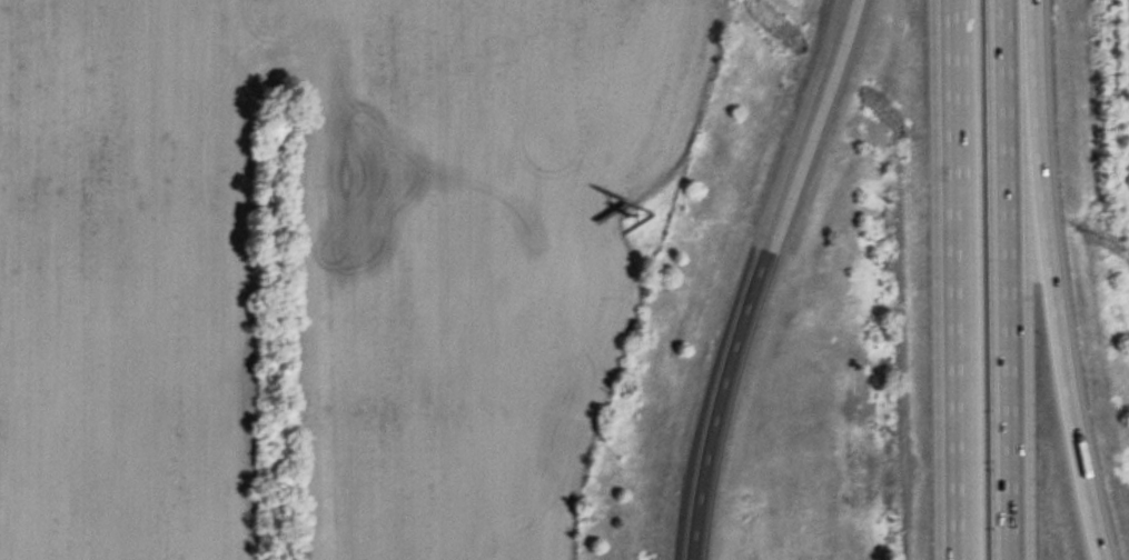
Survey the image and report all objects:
road: (755, 276)
road: (957, 279)
road: (1009, 280)
road: (1048, 281)

